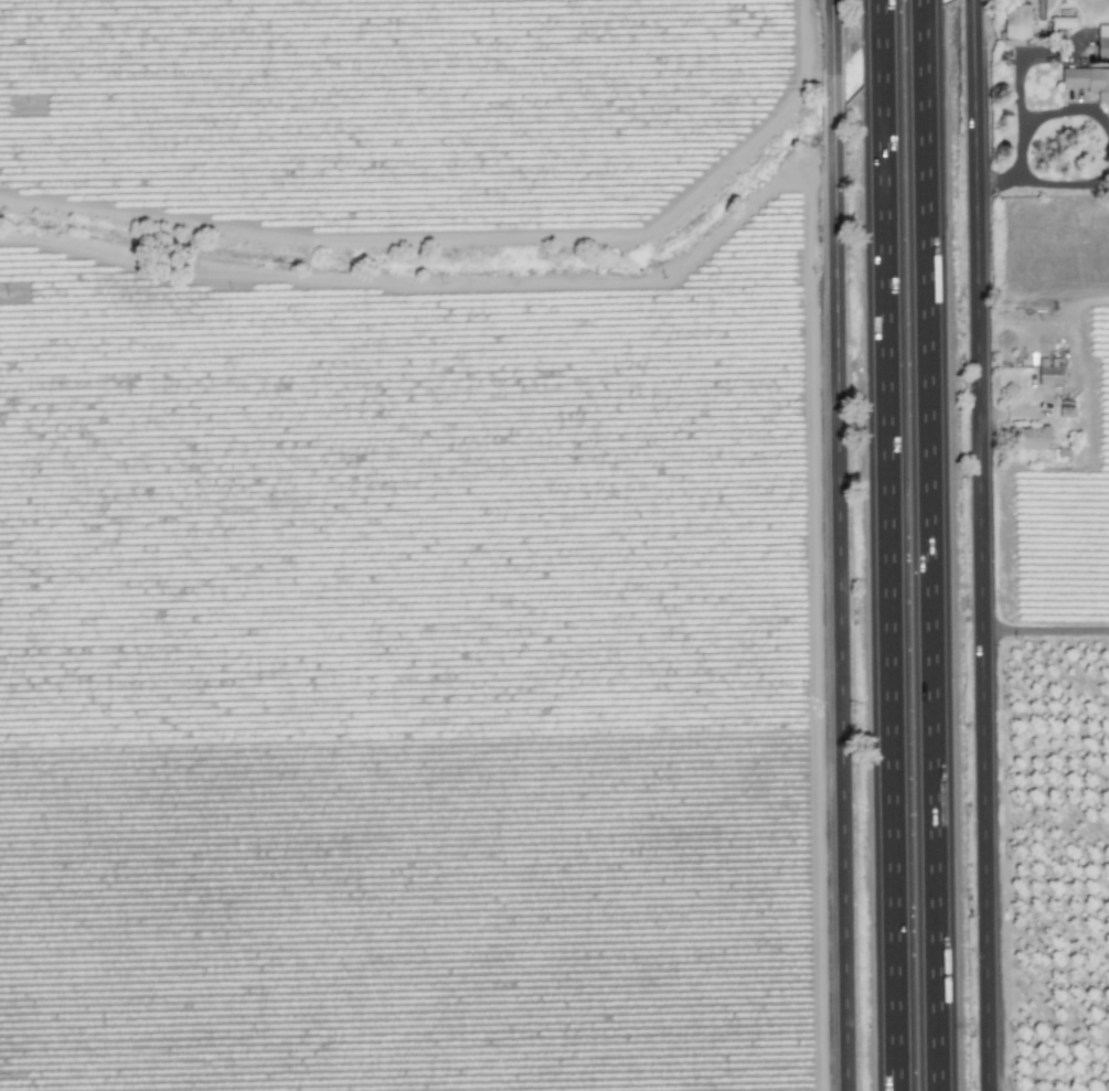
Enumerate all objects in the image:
building: (1015, 22)
building: (1062, 22)
road: (925, 23)
road: (833, 31)
road: (882, 41)
building: (1102, 41)
road: (1017, 60)
building: (1087, 81)
road: (834, 103)
road: (1046, 115)
road: (995, 175)
road: (1063, 183)
building: (1048, 375)
building: (1030, 438)
road: (982, 545)
road: (932, 568)
road: (889, 586)
road: (842, 617)
road: (1046, 630)

